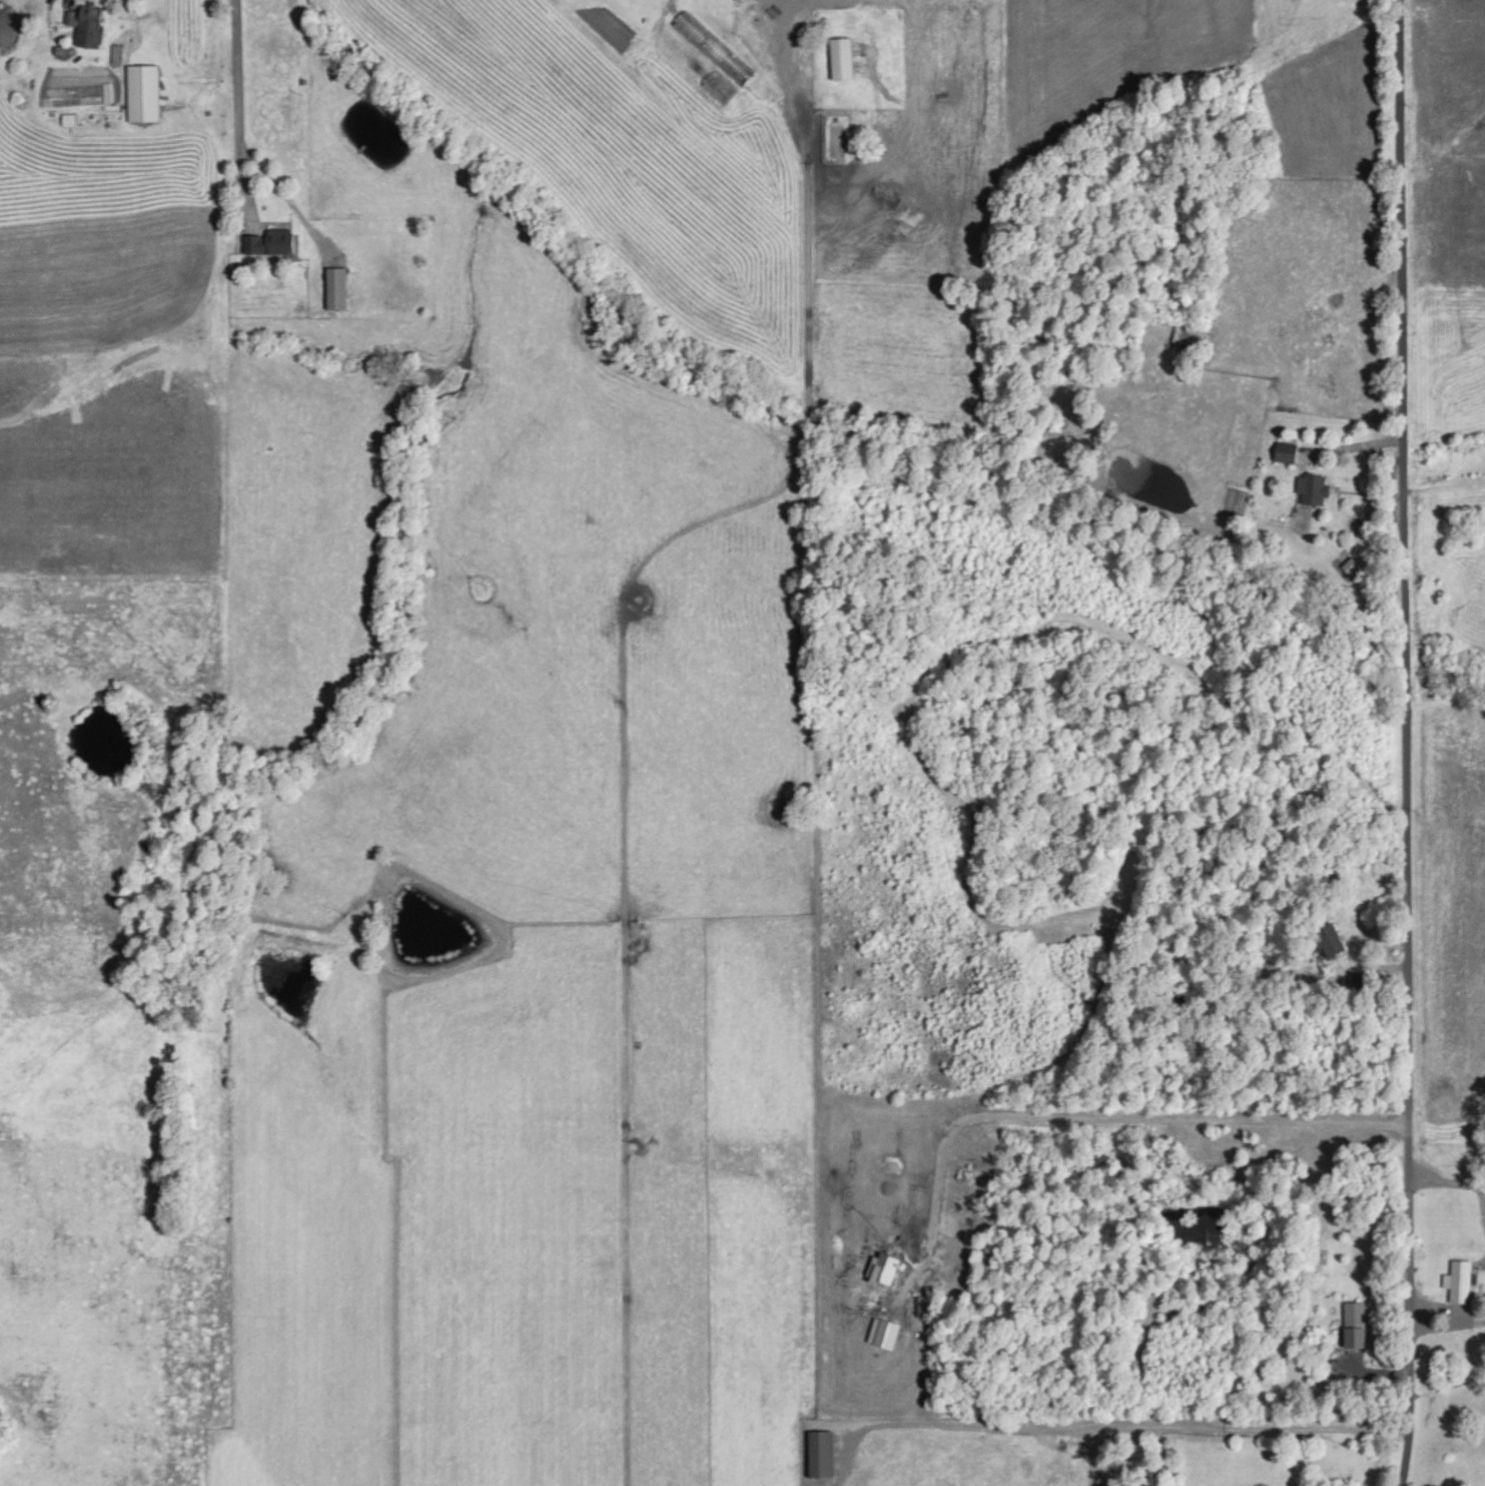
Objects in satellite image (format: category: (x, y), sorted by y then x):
building: (89, 28)
building: (63, 53)
building: (844, 61)
building: (721, 91)
building: (145, 96)
building: (71, 122)
building: (273, 245)
building: (339, 291)
building: (1288, 455)
building: (1311, 497)
road: (1404, 743)
building: (1332, 946)
building: (1462, 1283)
building: (1359, 1327)
building: (825, 1456)

